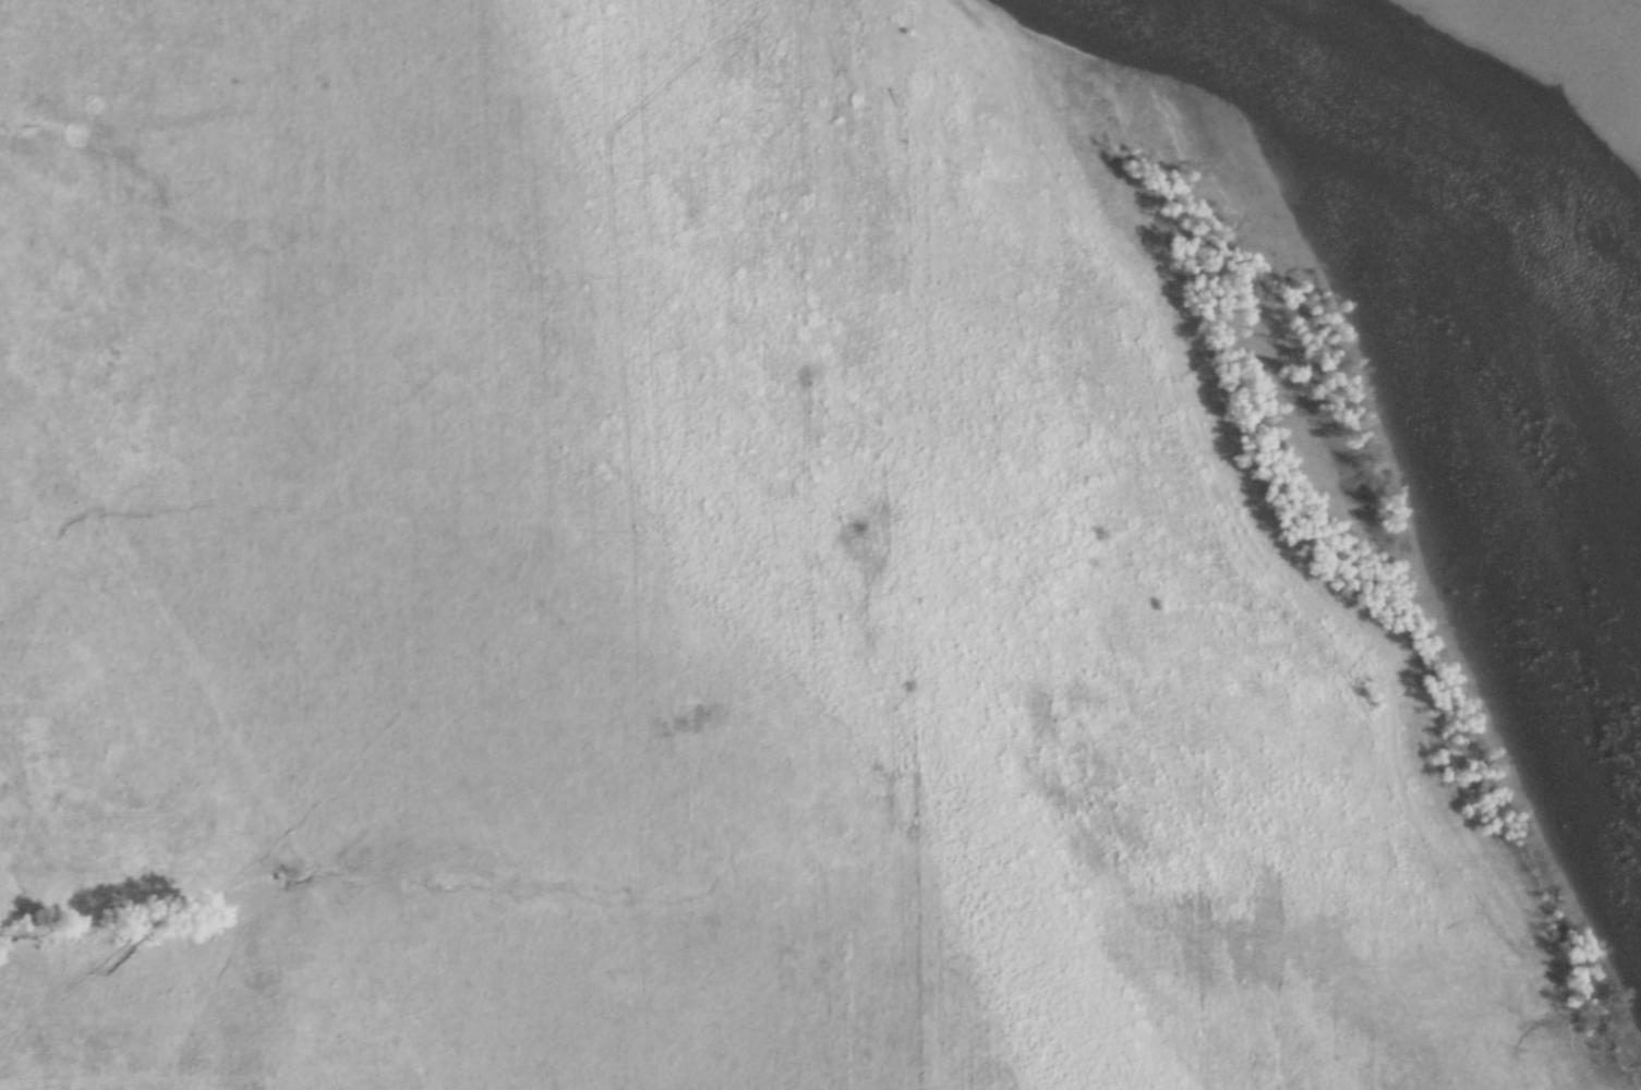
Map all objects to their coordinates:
river: (1477, 184)

